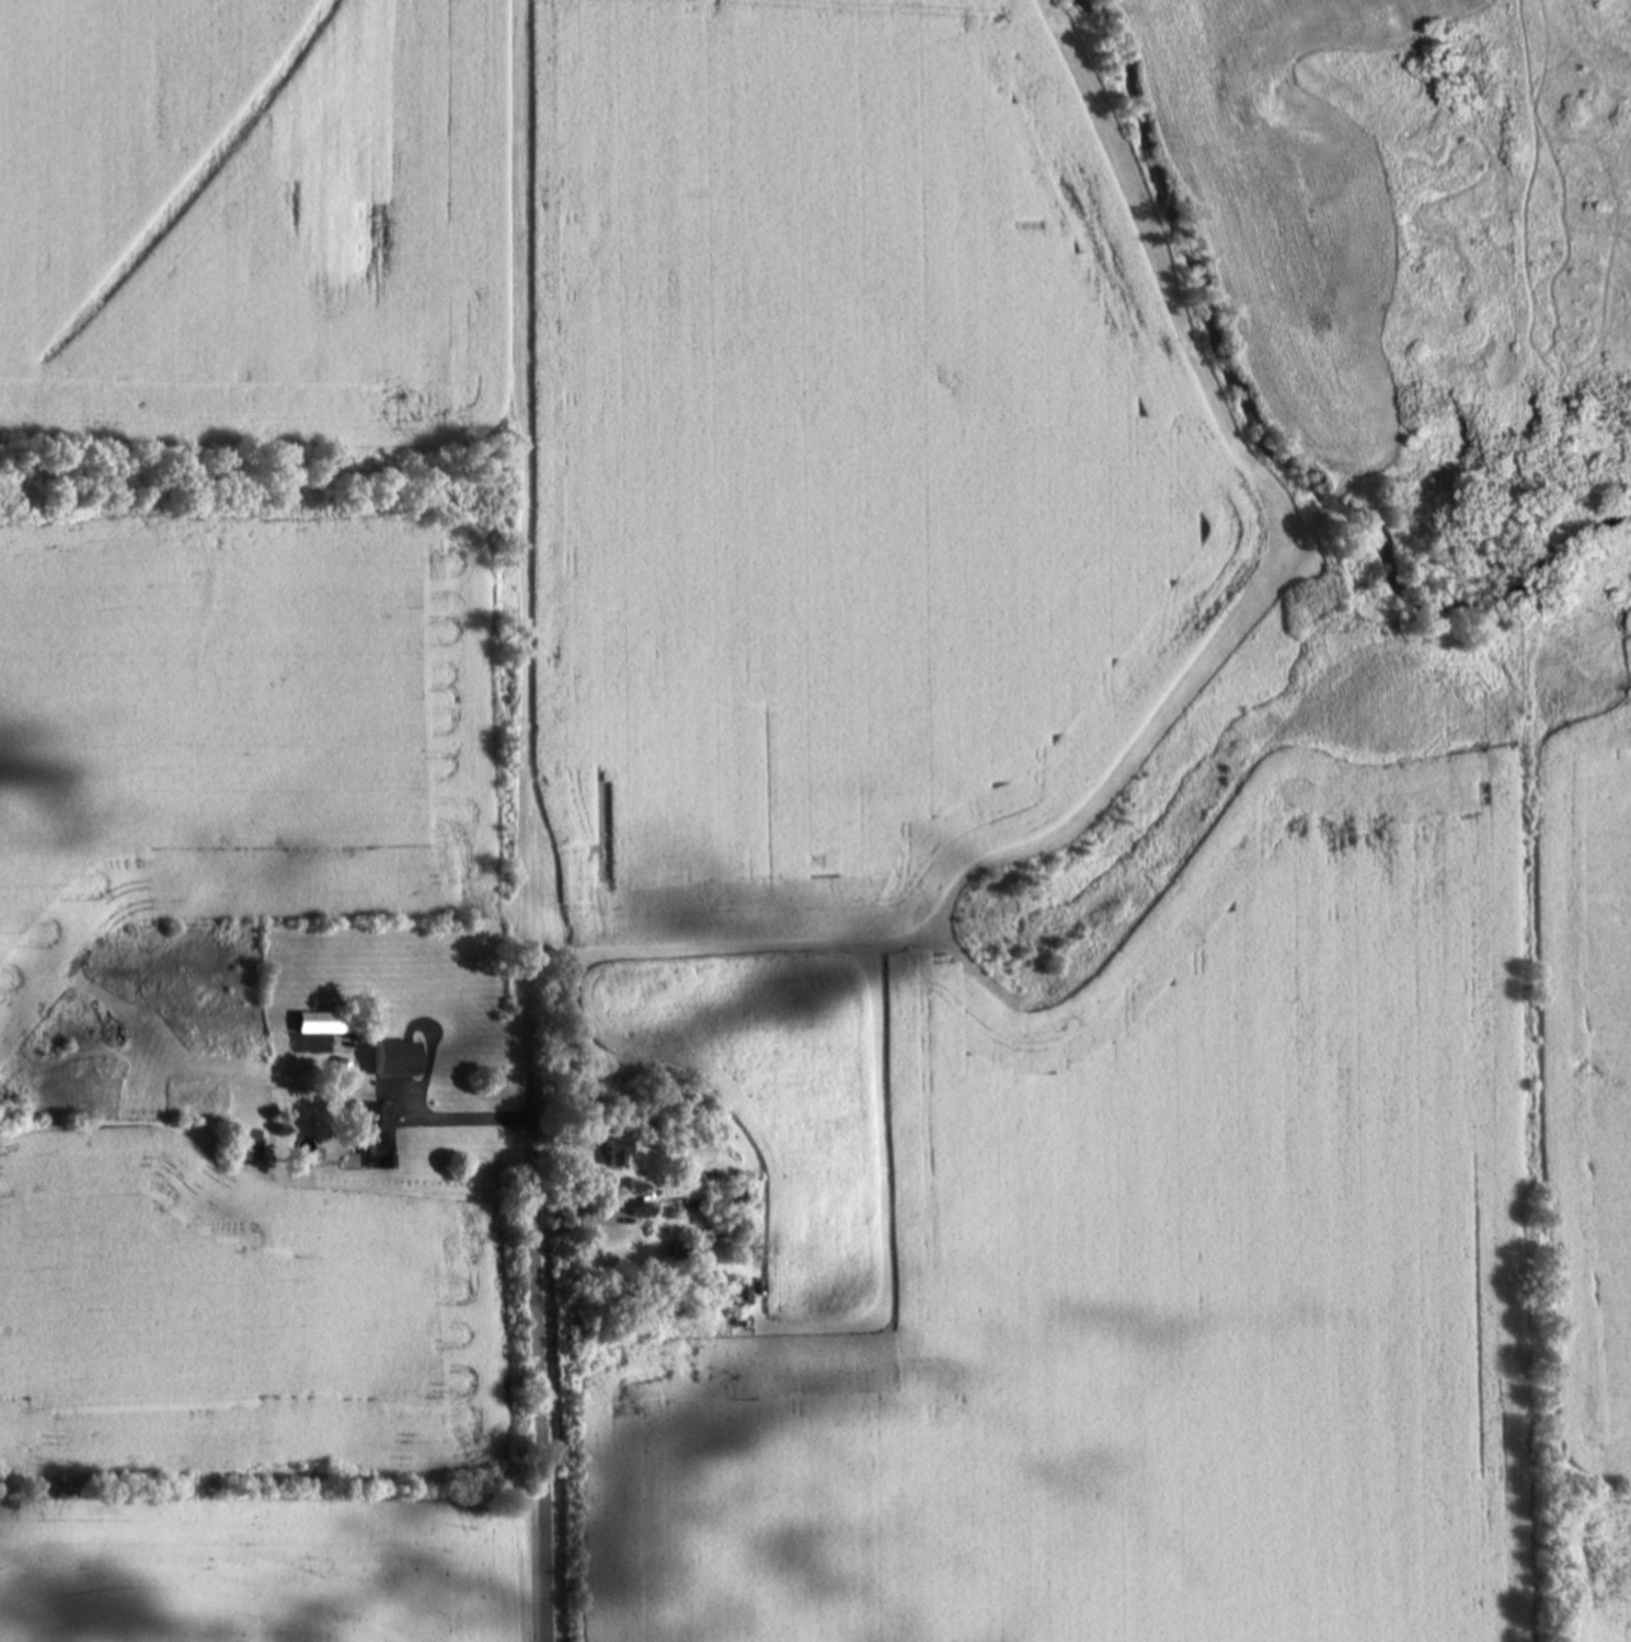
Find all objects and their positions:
building: (328, 1021)
building: (398, 1057)
road: (531, 1068)
building: (376, 1130)
building: (244, 1144)
building: (619, 1150)
building: (685, 1248)
building: (742, 1291)

